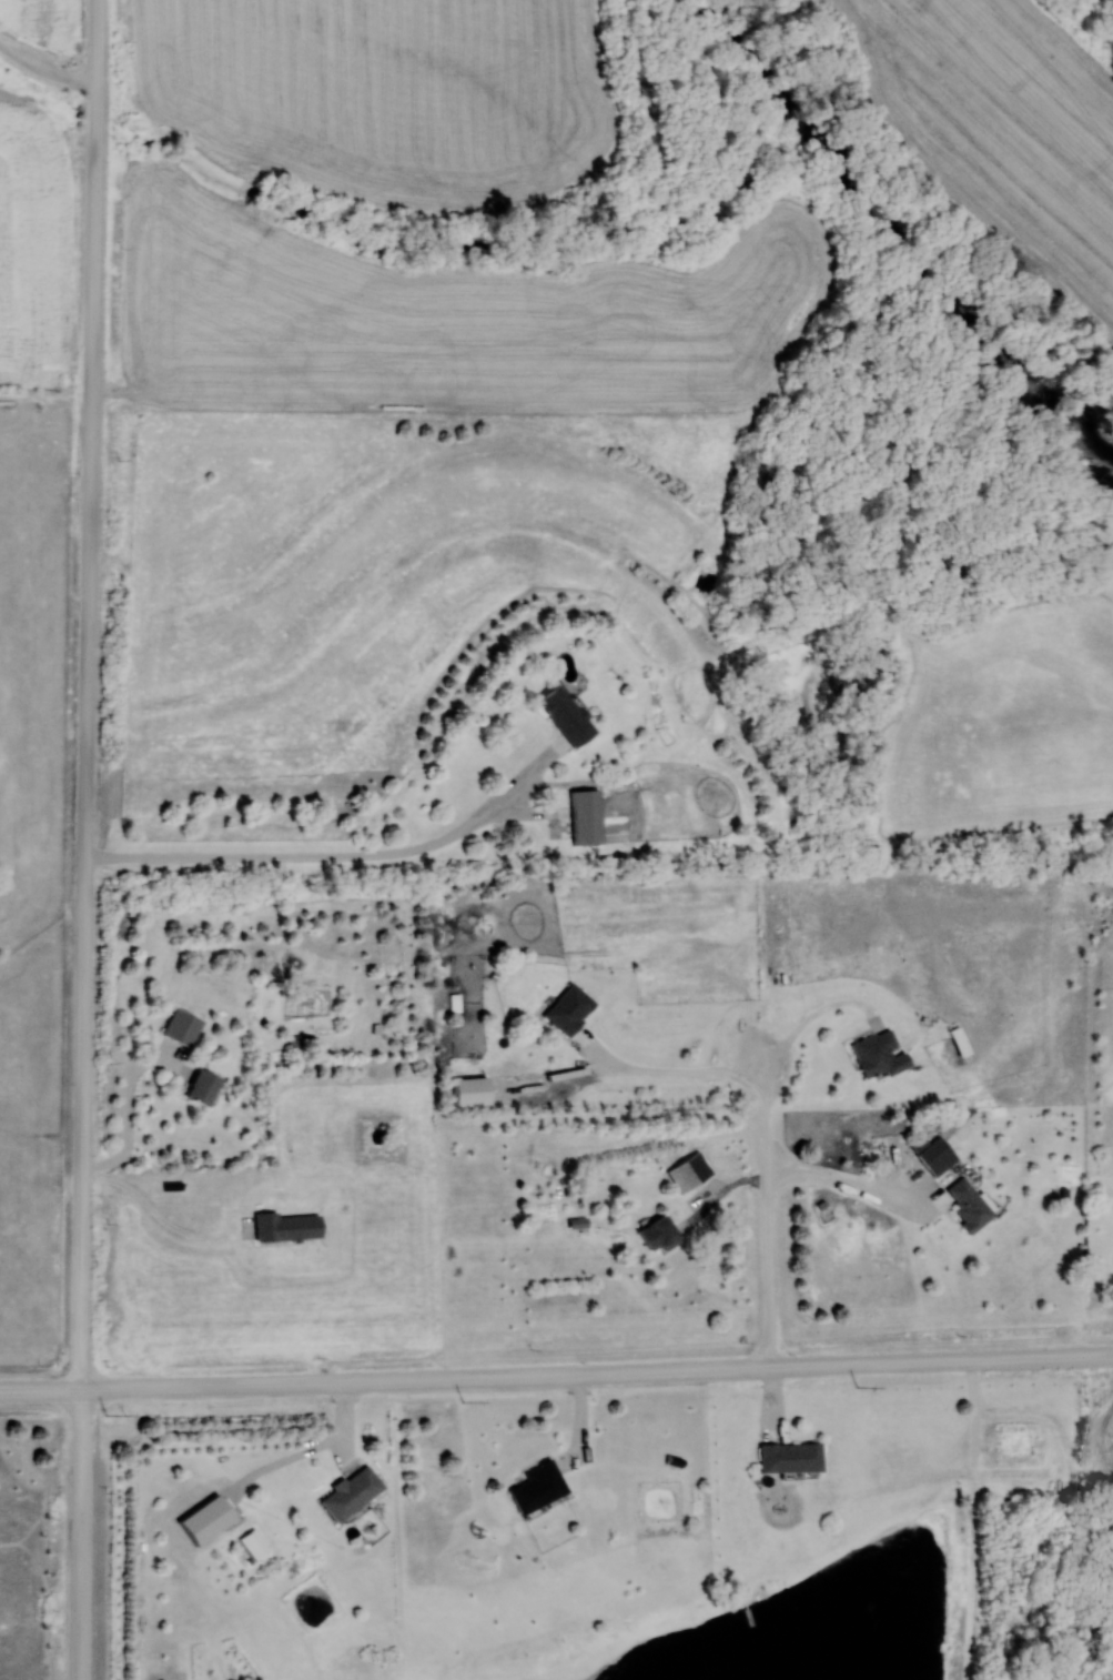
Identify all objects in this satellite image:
road: (43, 78)
building: (569, 717)
building: (588, 818)
road: (88, 839)
road: (342, 861)
building: (573, 1009)
road: (820, 1017)
building: (185, 1028)
building: (299, 1045)
building: (883, 1055)
road: (675, 1074)
building: (206, 1088)
building: (473, 1093)
road: (131, 1116)
building: (940, 1156)
building: (692, 1174)
road: (848, 1187)
building: (973, 1207)
road: (161, 1219)
road: (769, 1224)
building: (290, 1228)
building: (661, 1235)
road: (556, 1377)
building: (795, 1457)
building: (542, 1486)
building: (355, 1492)

